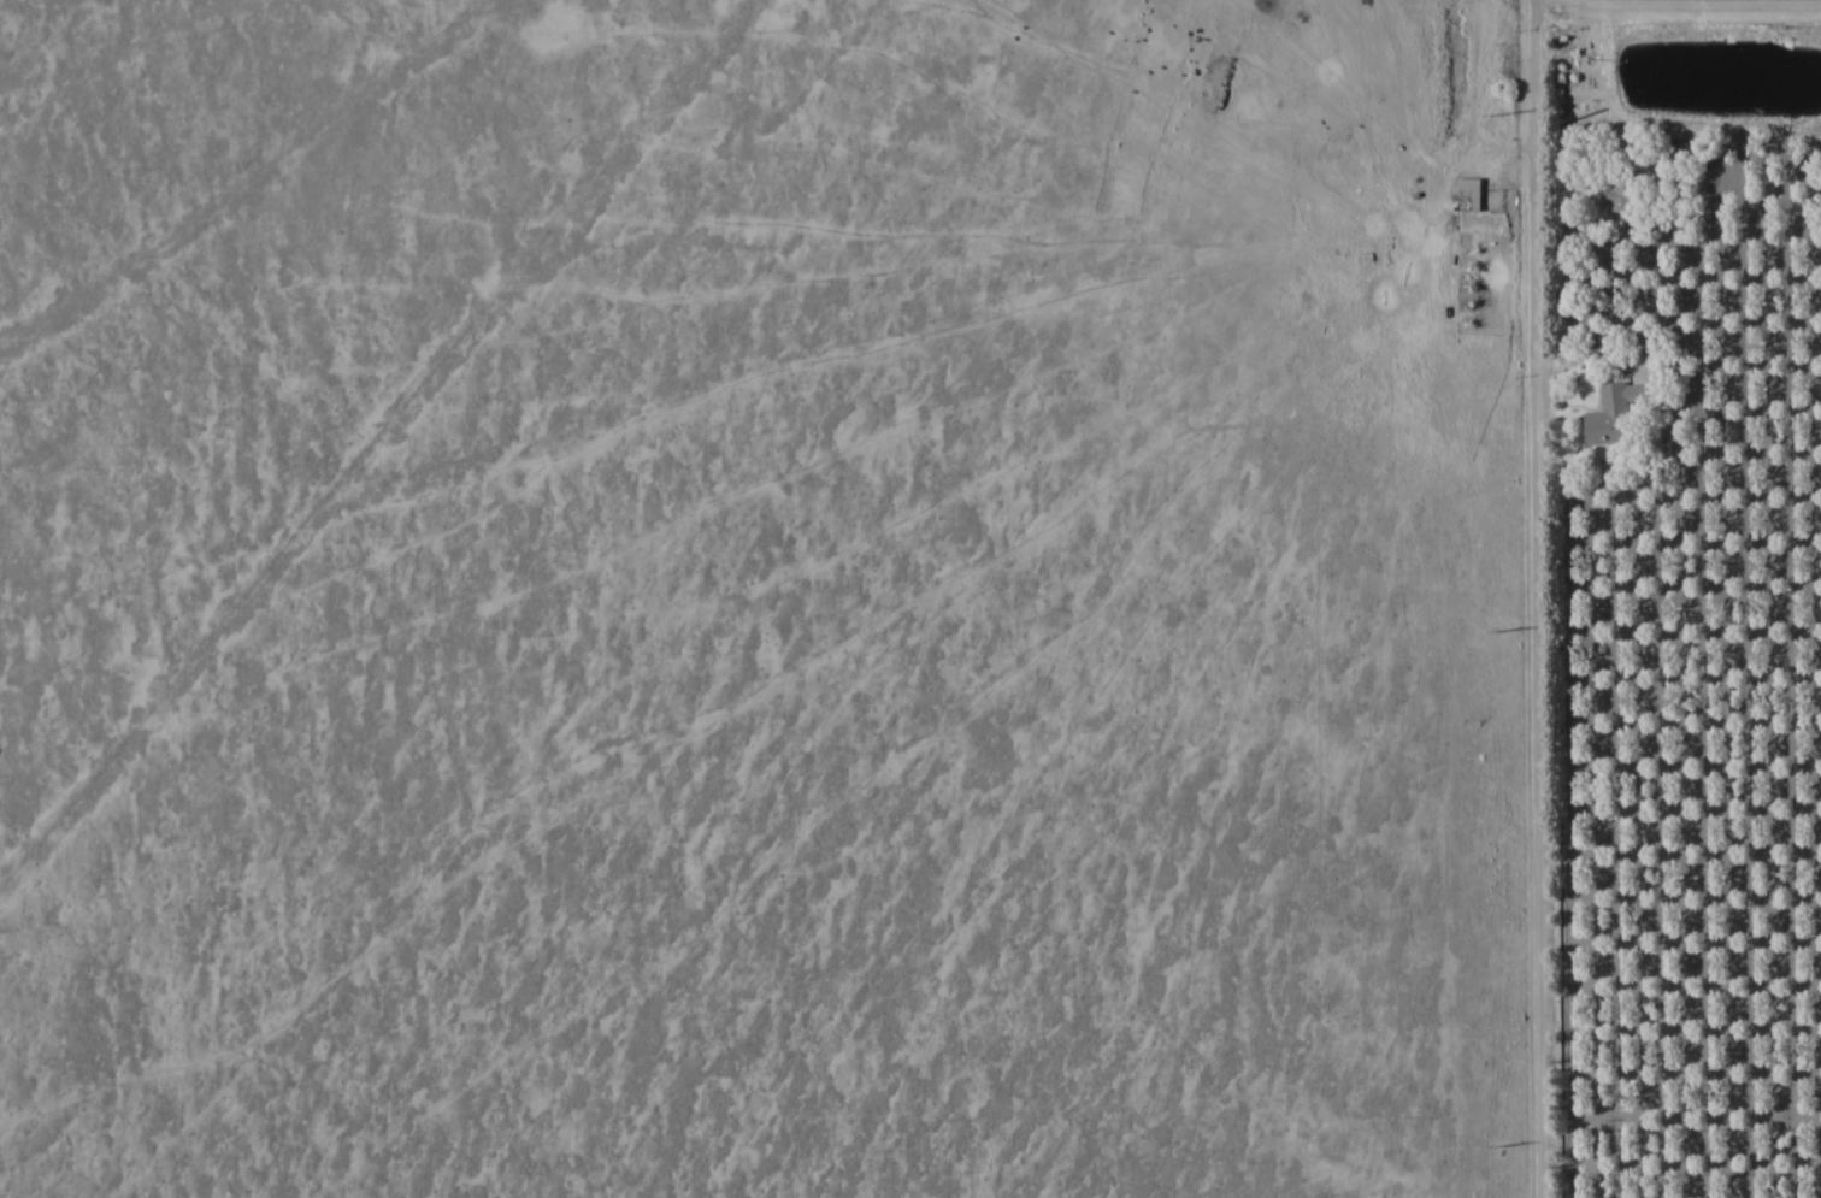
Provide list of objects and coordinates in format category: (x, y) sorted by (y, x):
power tower: (1495, 112)
building: (1620, 189)
building: (1611, 413)
road: (1537, 598)
power tower: (1497, 627)
power tower: (1499, 1143)

